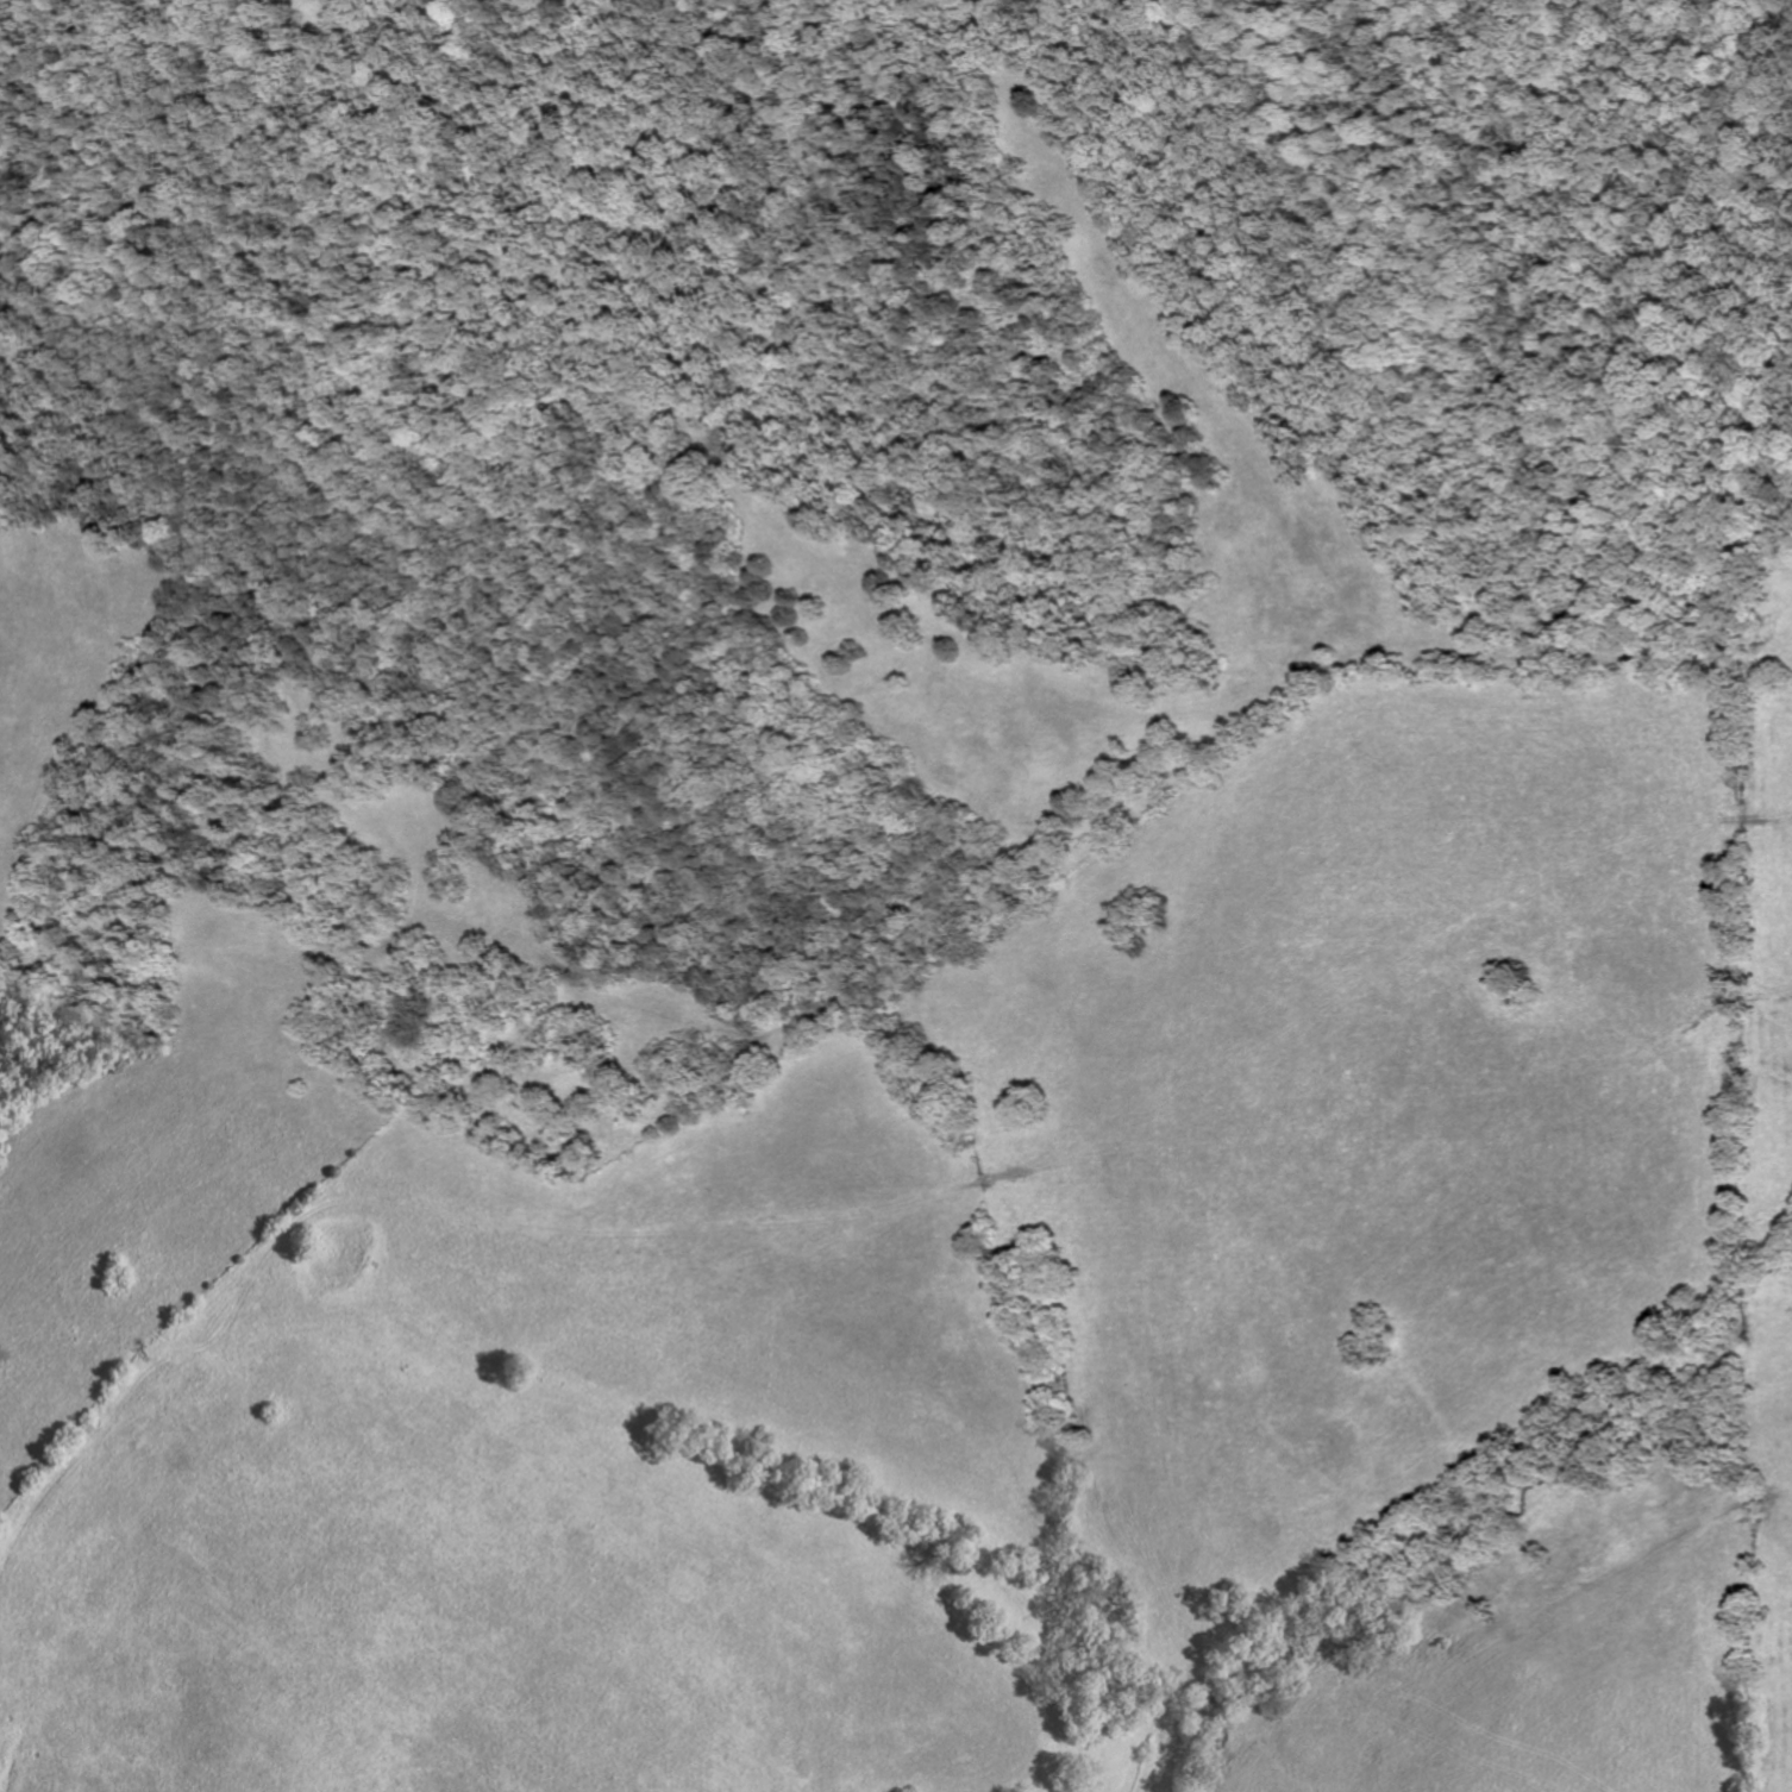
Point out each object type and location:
road: (65, 1445)

